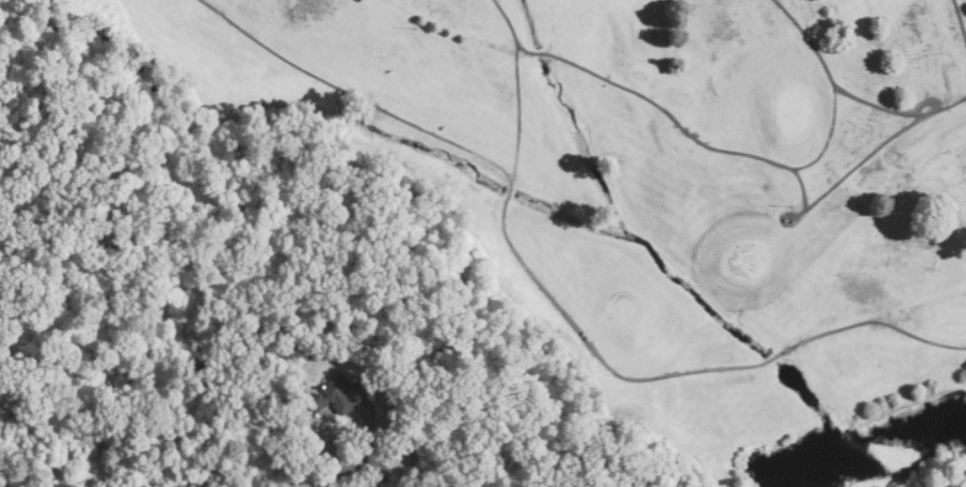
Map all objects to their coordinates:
park: (655, 180)
building: (336, 396)
road: (347, 468)

